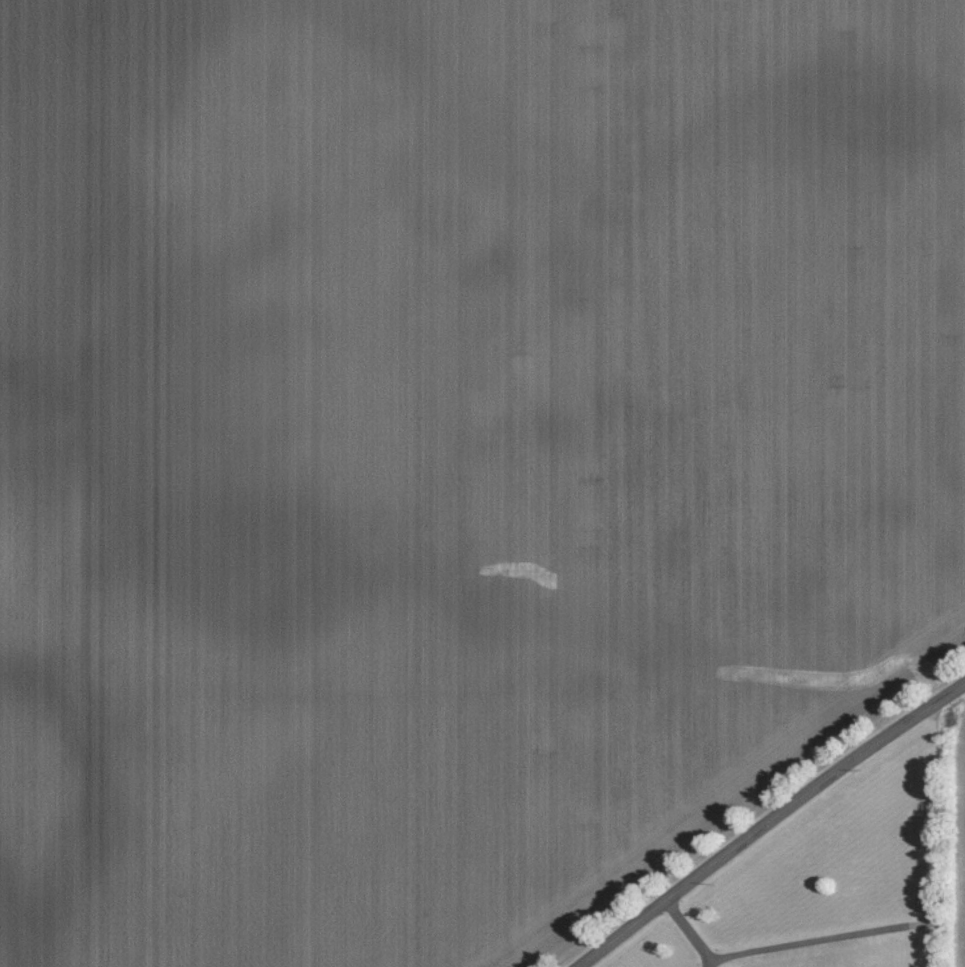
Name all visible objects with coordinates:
road: (768, 821)
road: (688, 932)
road: (814, 933)

